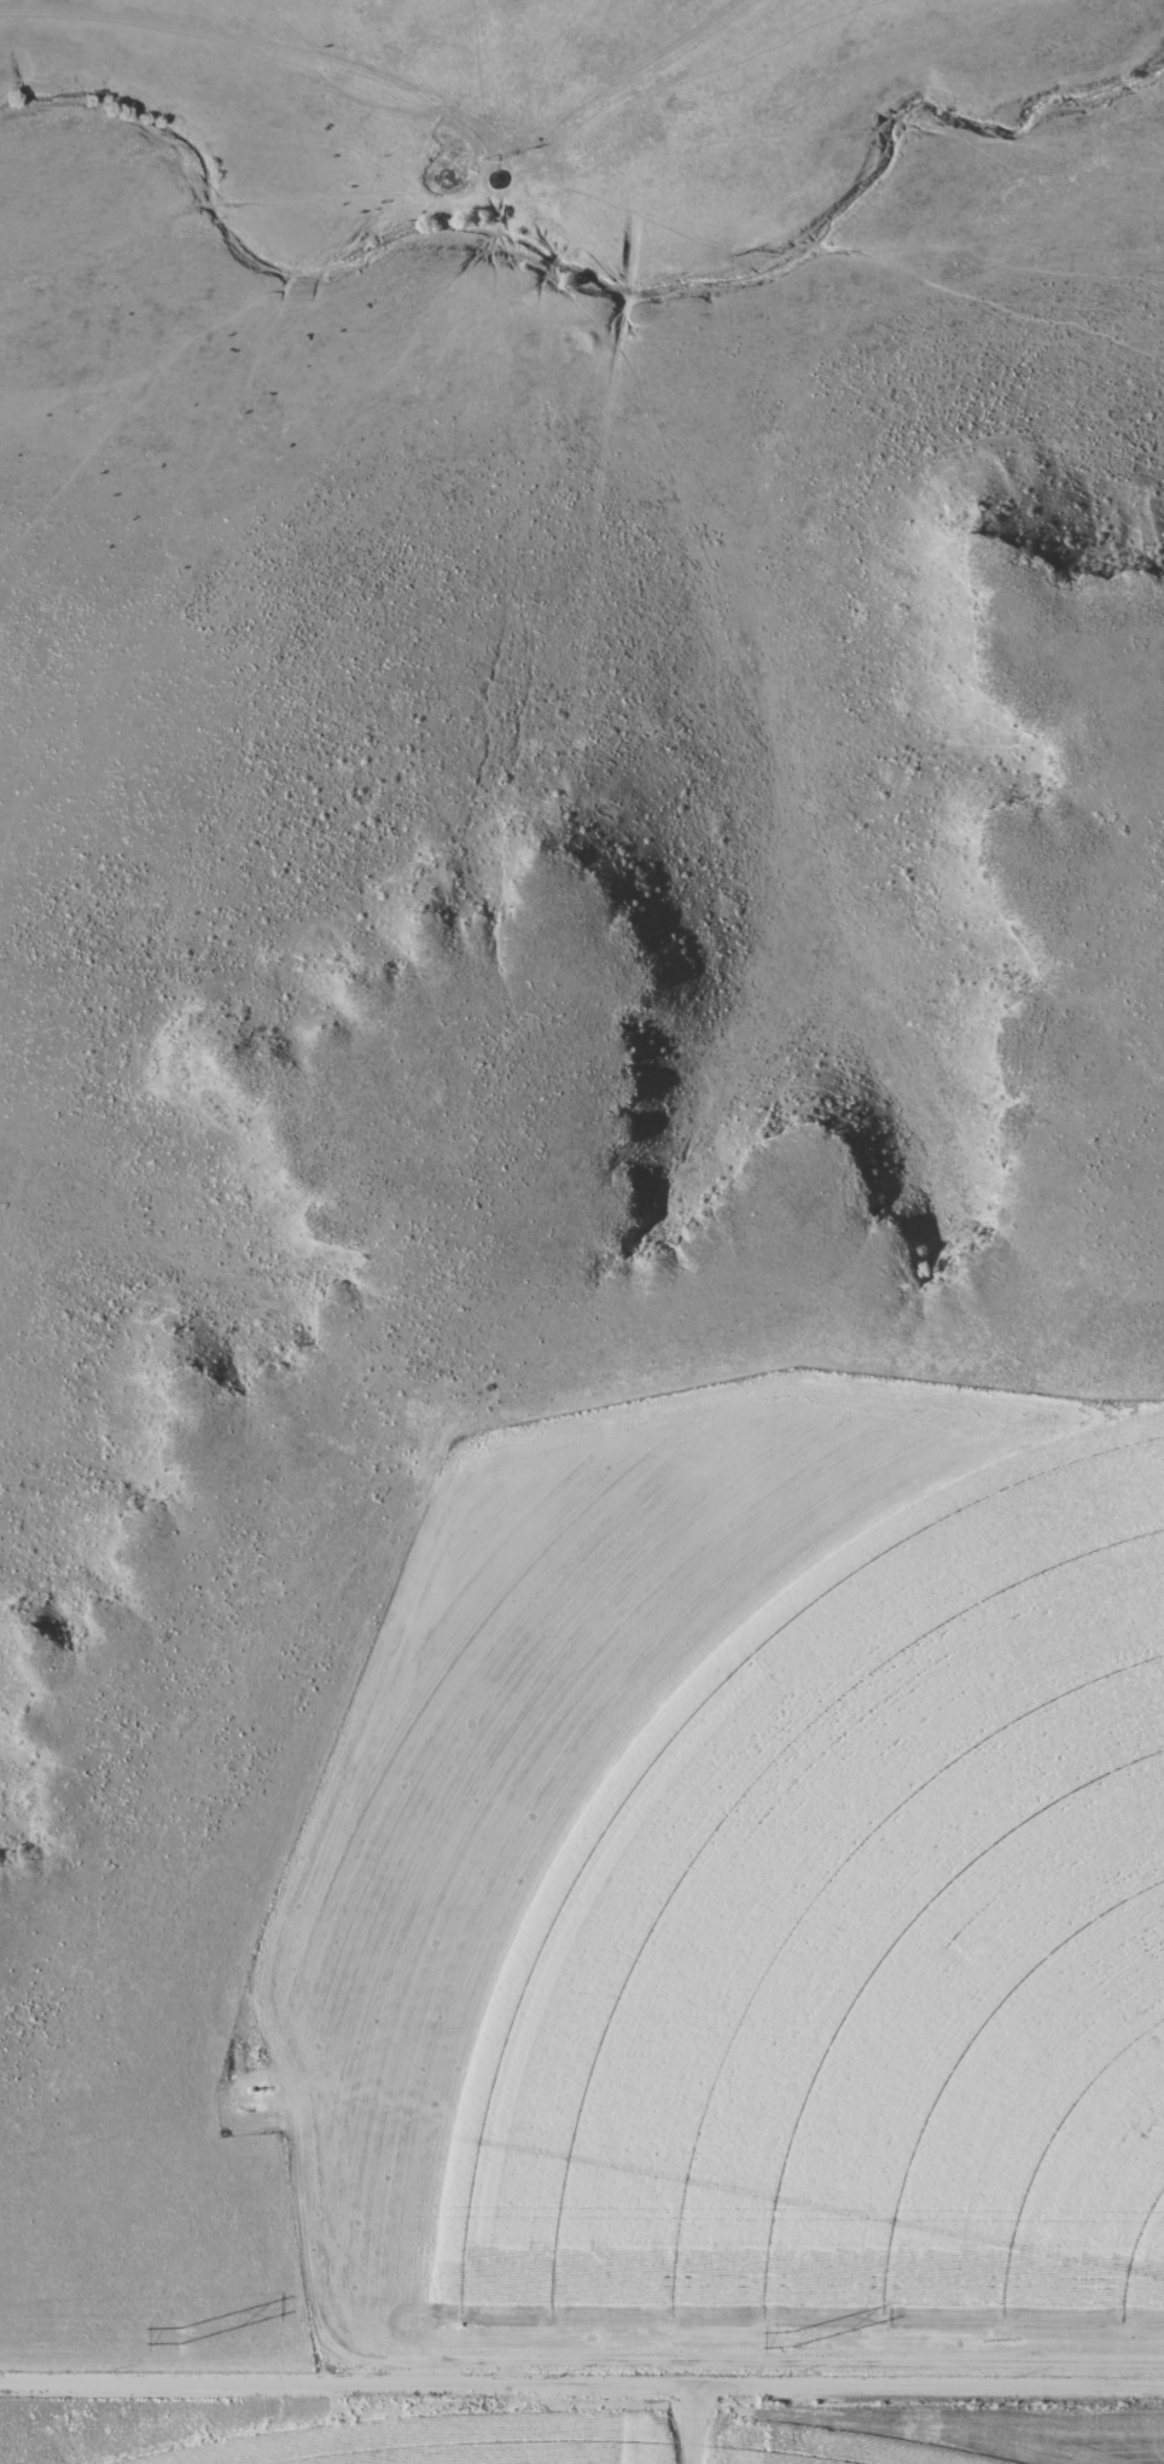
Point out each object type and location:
power tower: (180, 2336)
power tower: (791, 2337)

